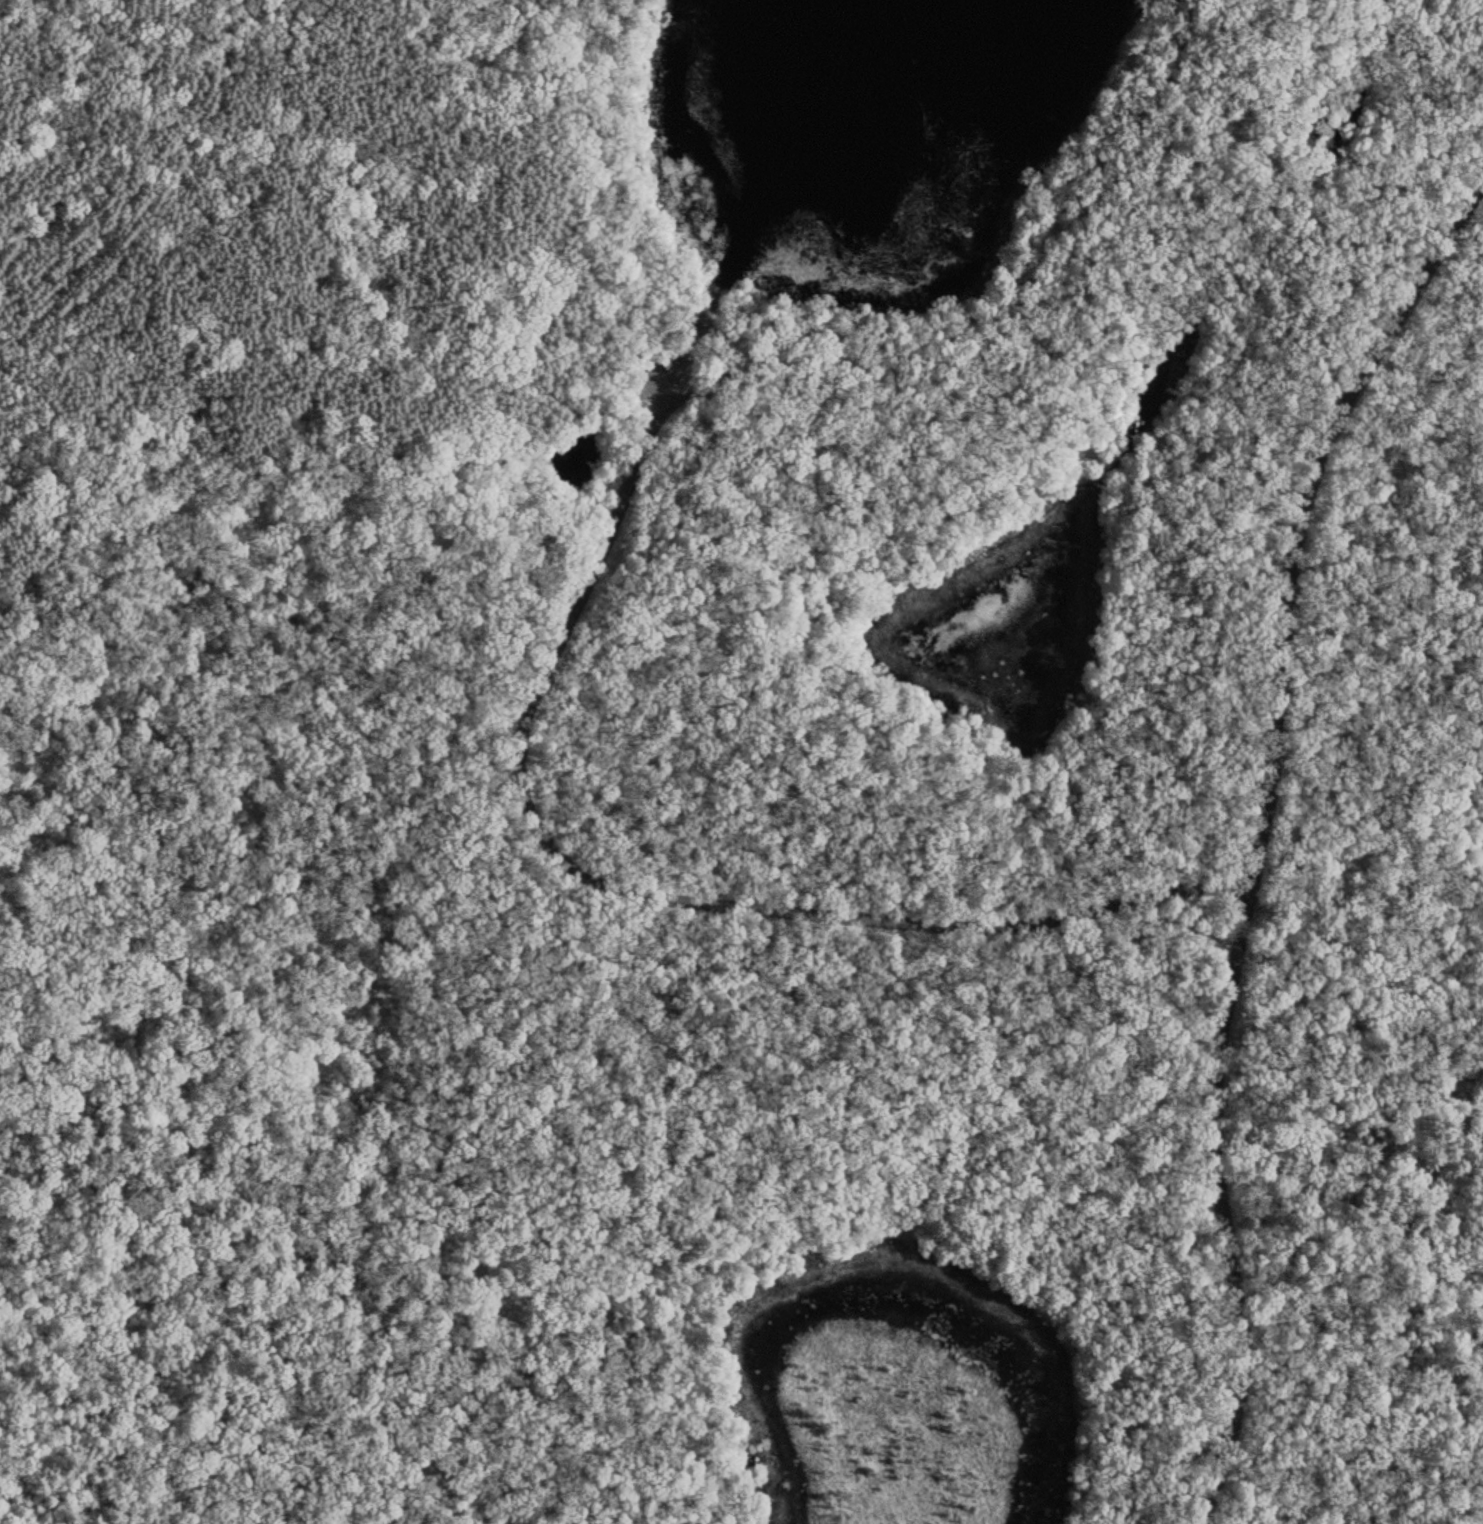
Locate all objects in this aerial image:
road: (1114, 247)
parking lot: (620, 433)
road: (699, 805)
road: (1254, 825)
road: (588, 873)

